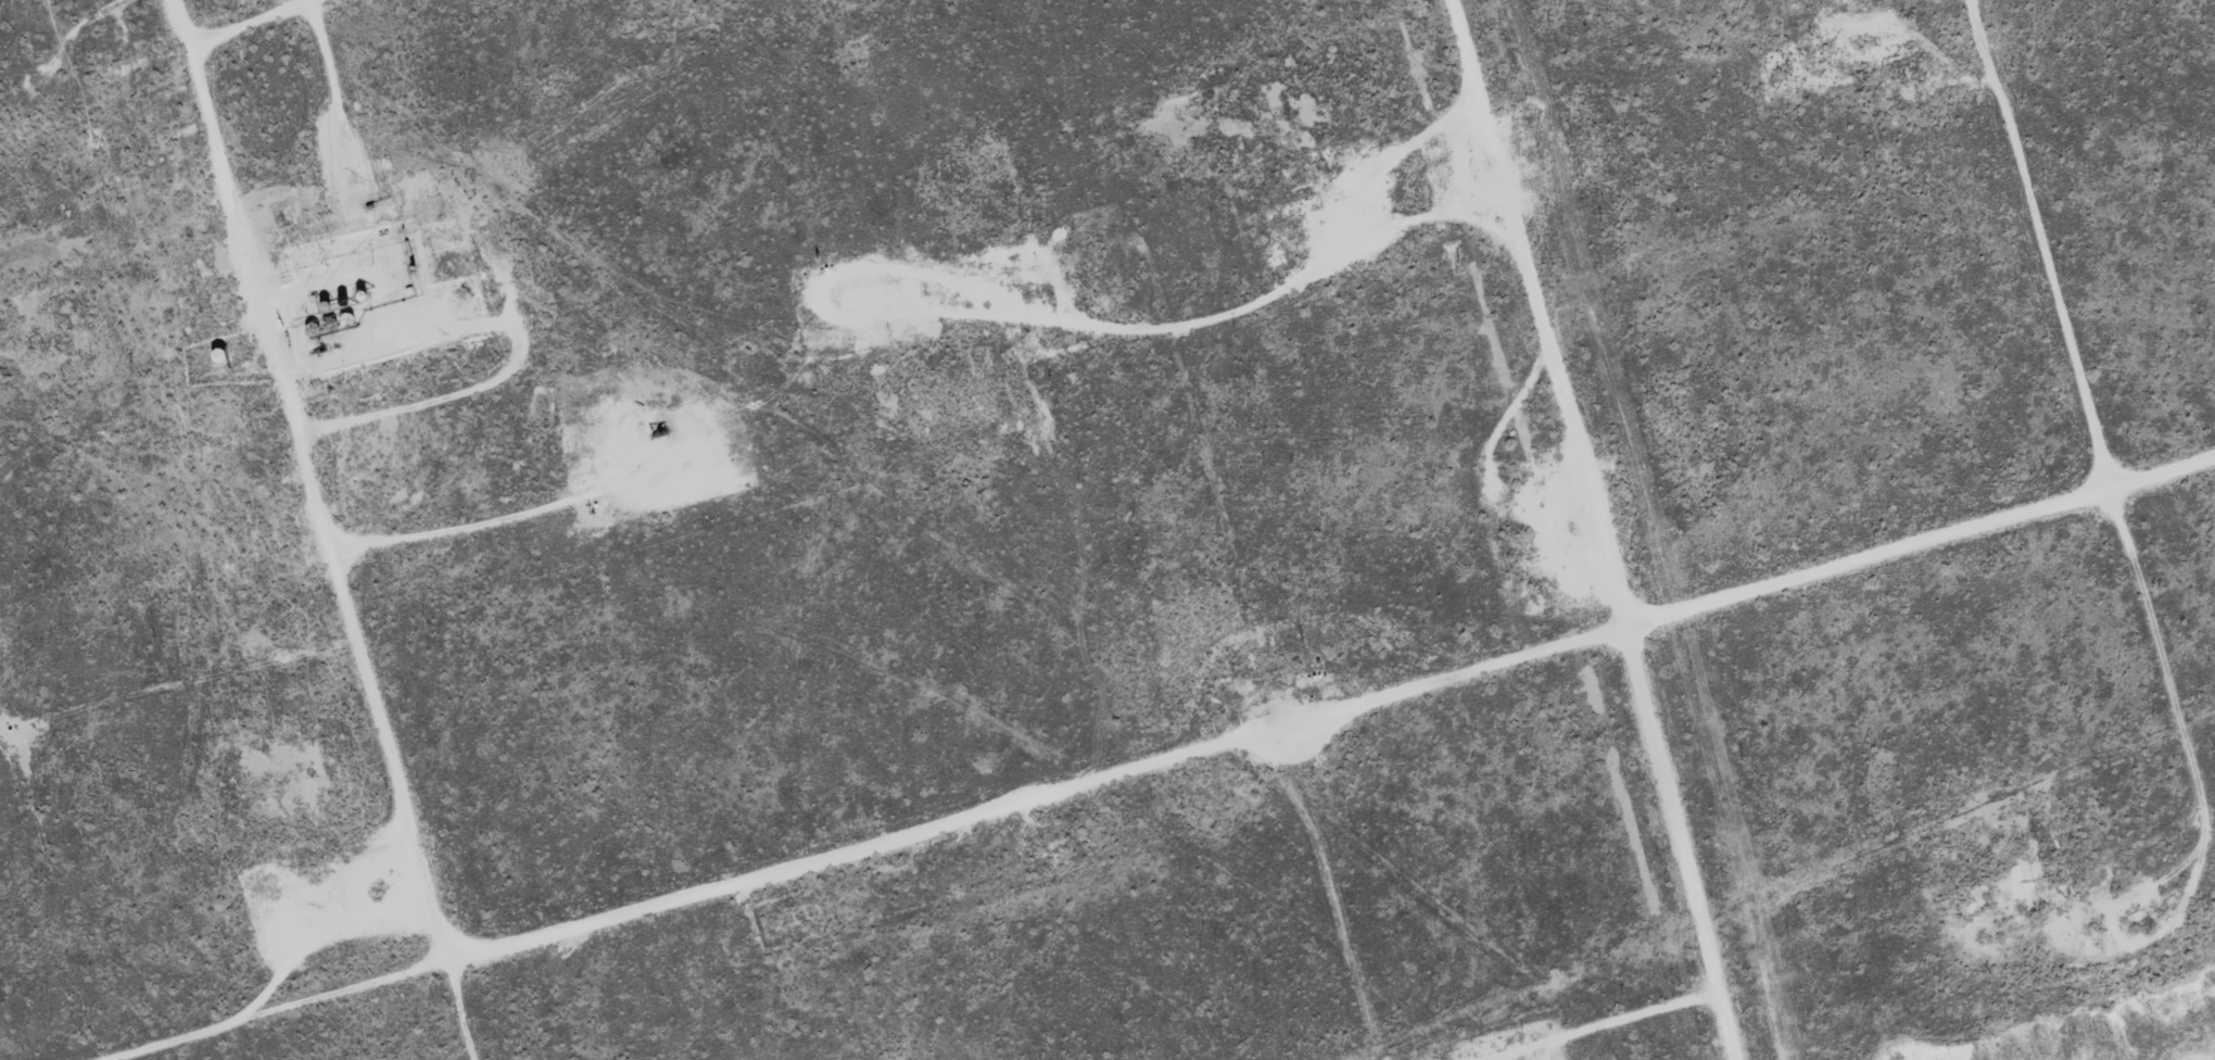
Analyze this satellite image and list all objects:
road: (2029, 251)
road: (1615, 528)
road: (1123, 754)

